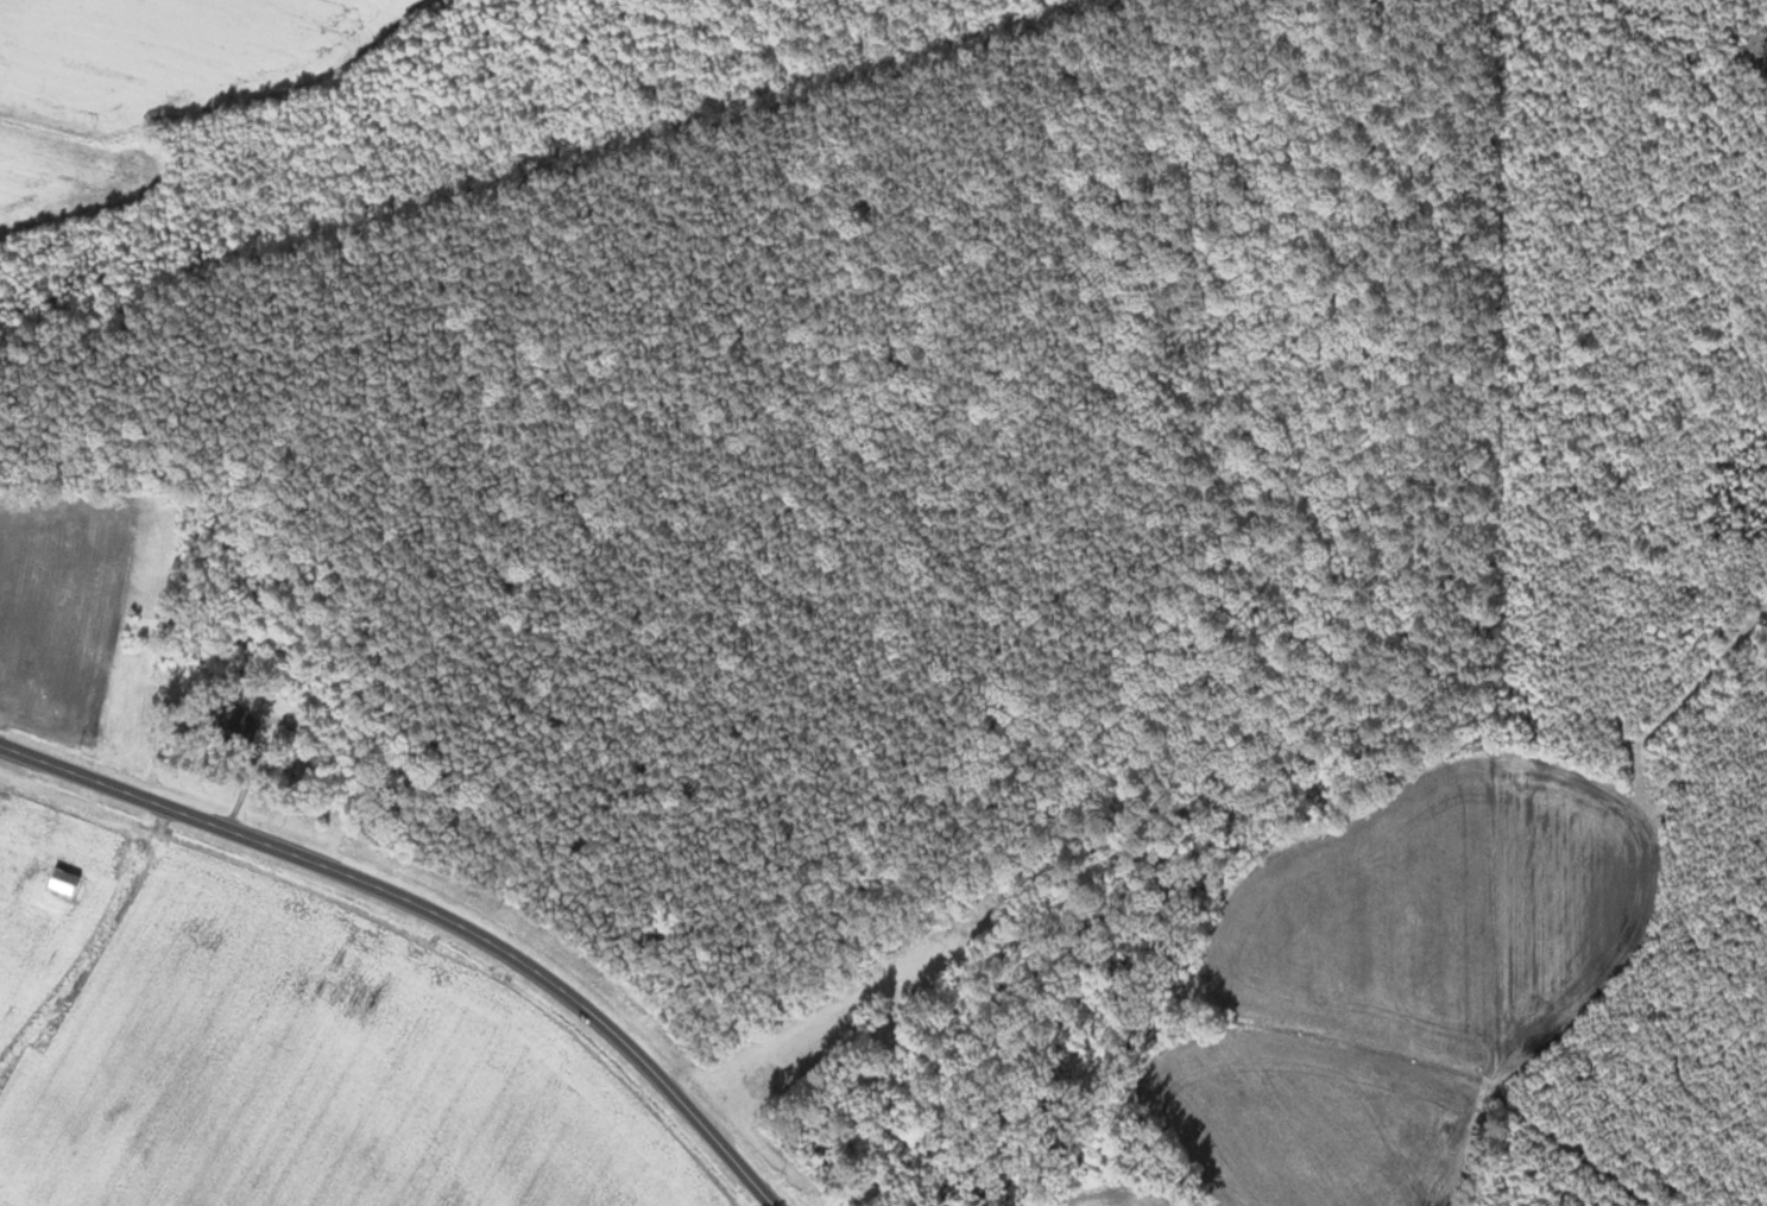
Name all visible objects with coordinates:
building: (239, 727)
building: (65, 879)
road: (428, 928)

